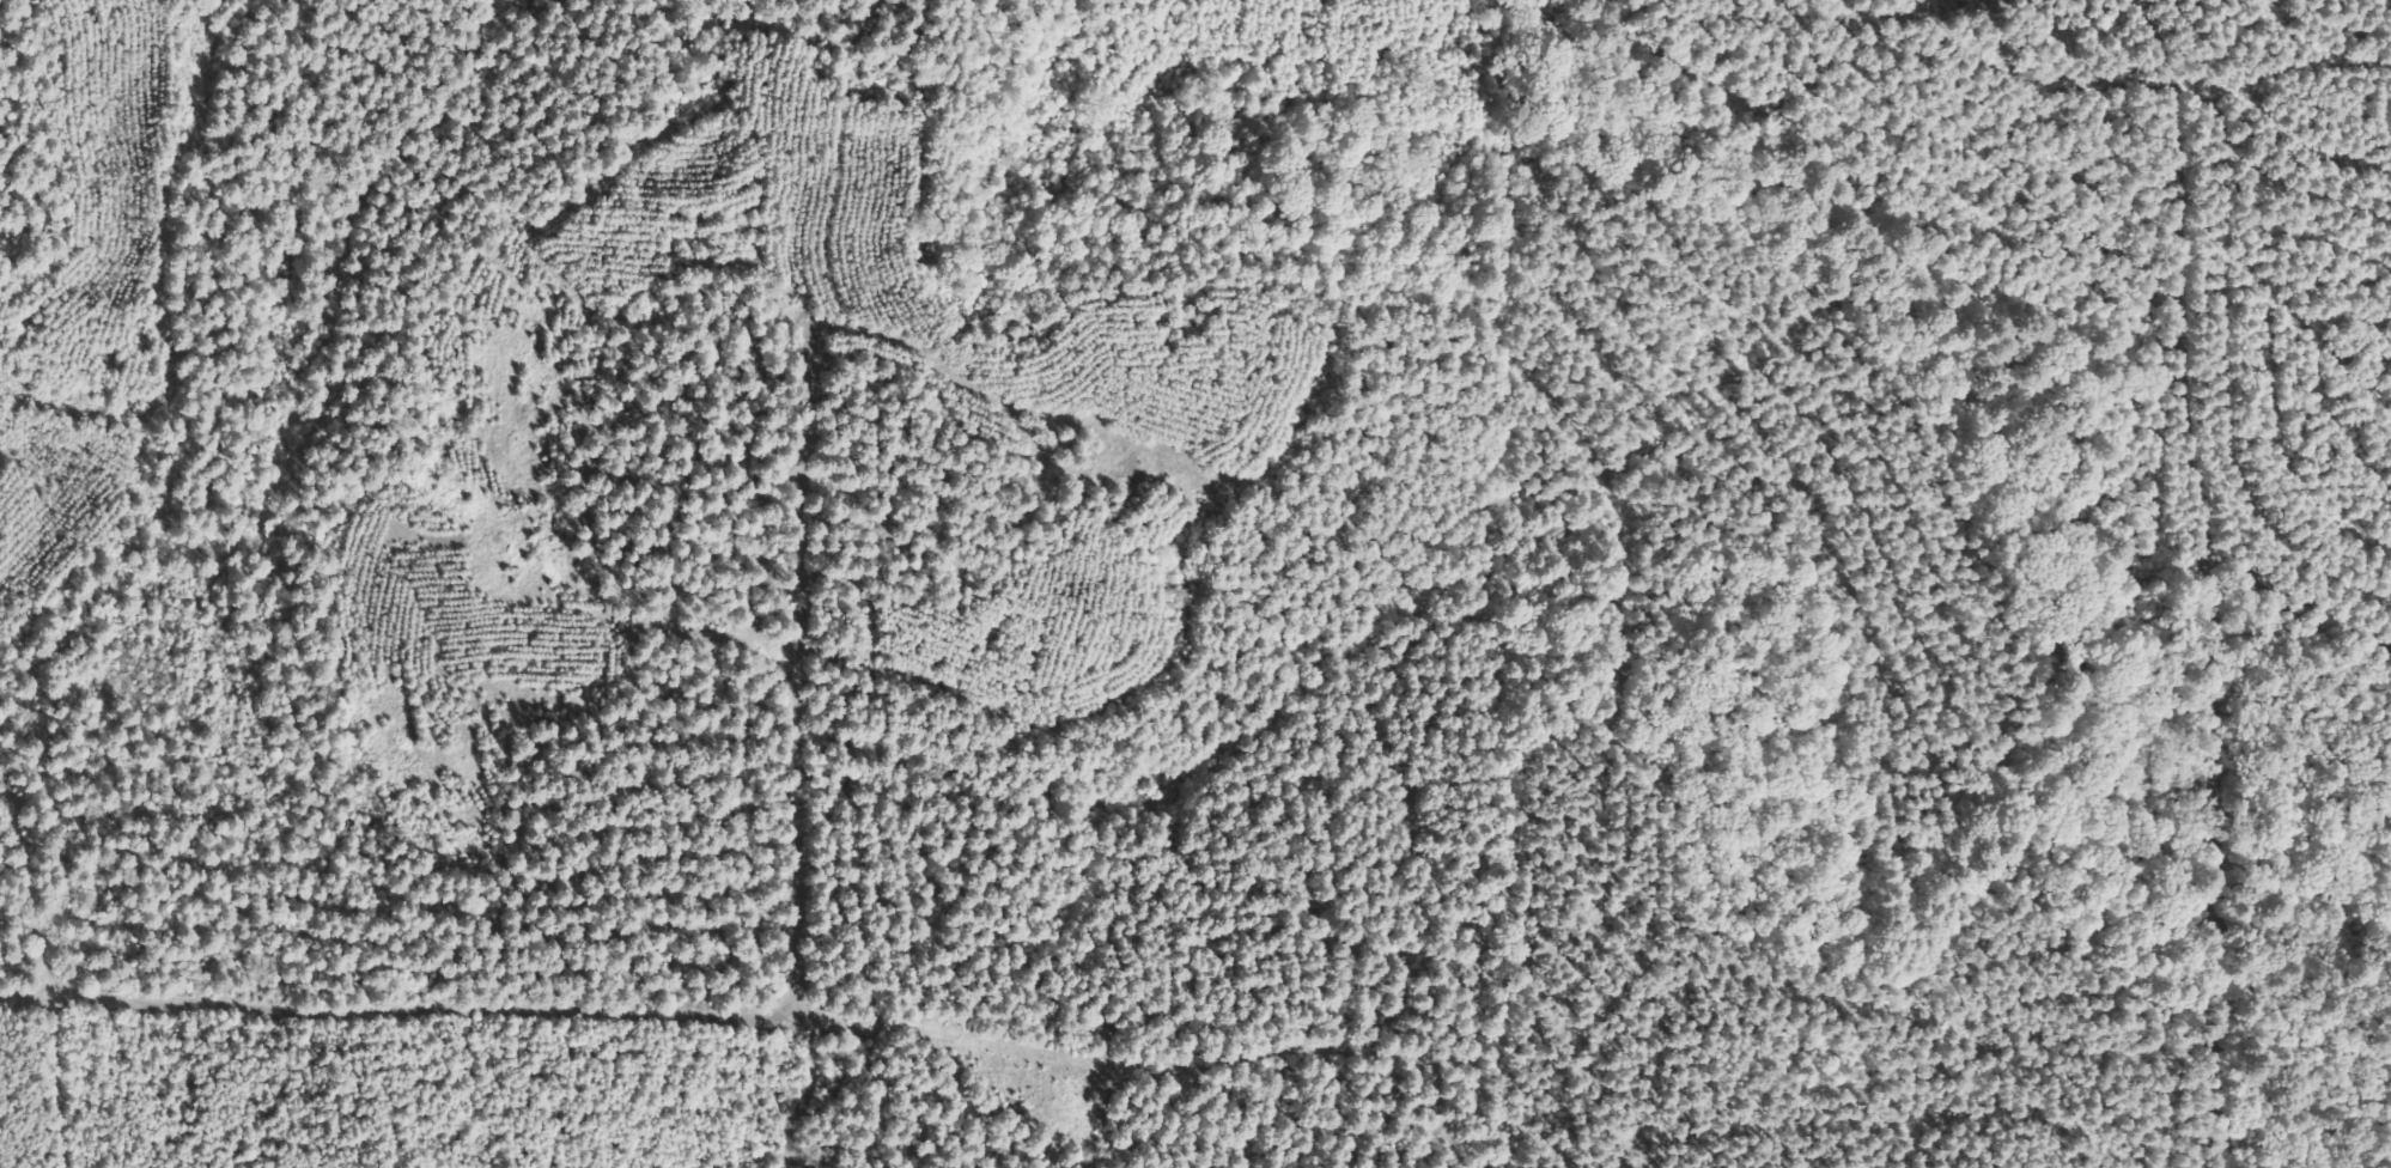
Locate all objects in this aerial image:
road: (38, 998)

